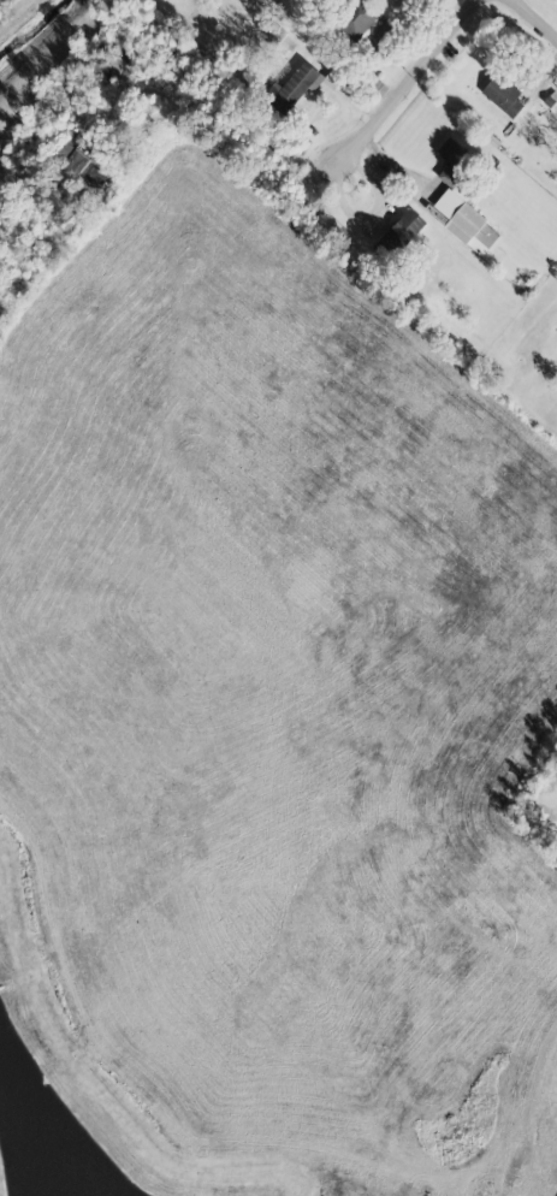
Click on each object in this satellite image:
building: (357, 16)
road: (533, 18)
building: (109, 61)
building: (298, 83)
road: (409, 85)
building: (502, 95)
building: (461, 200)
building: (401, 230)

